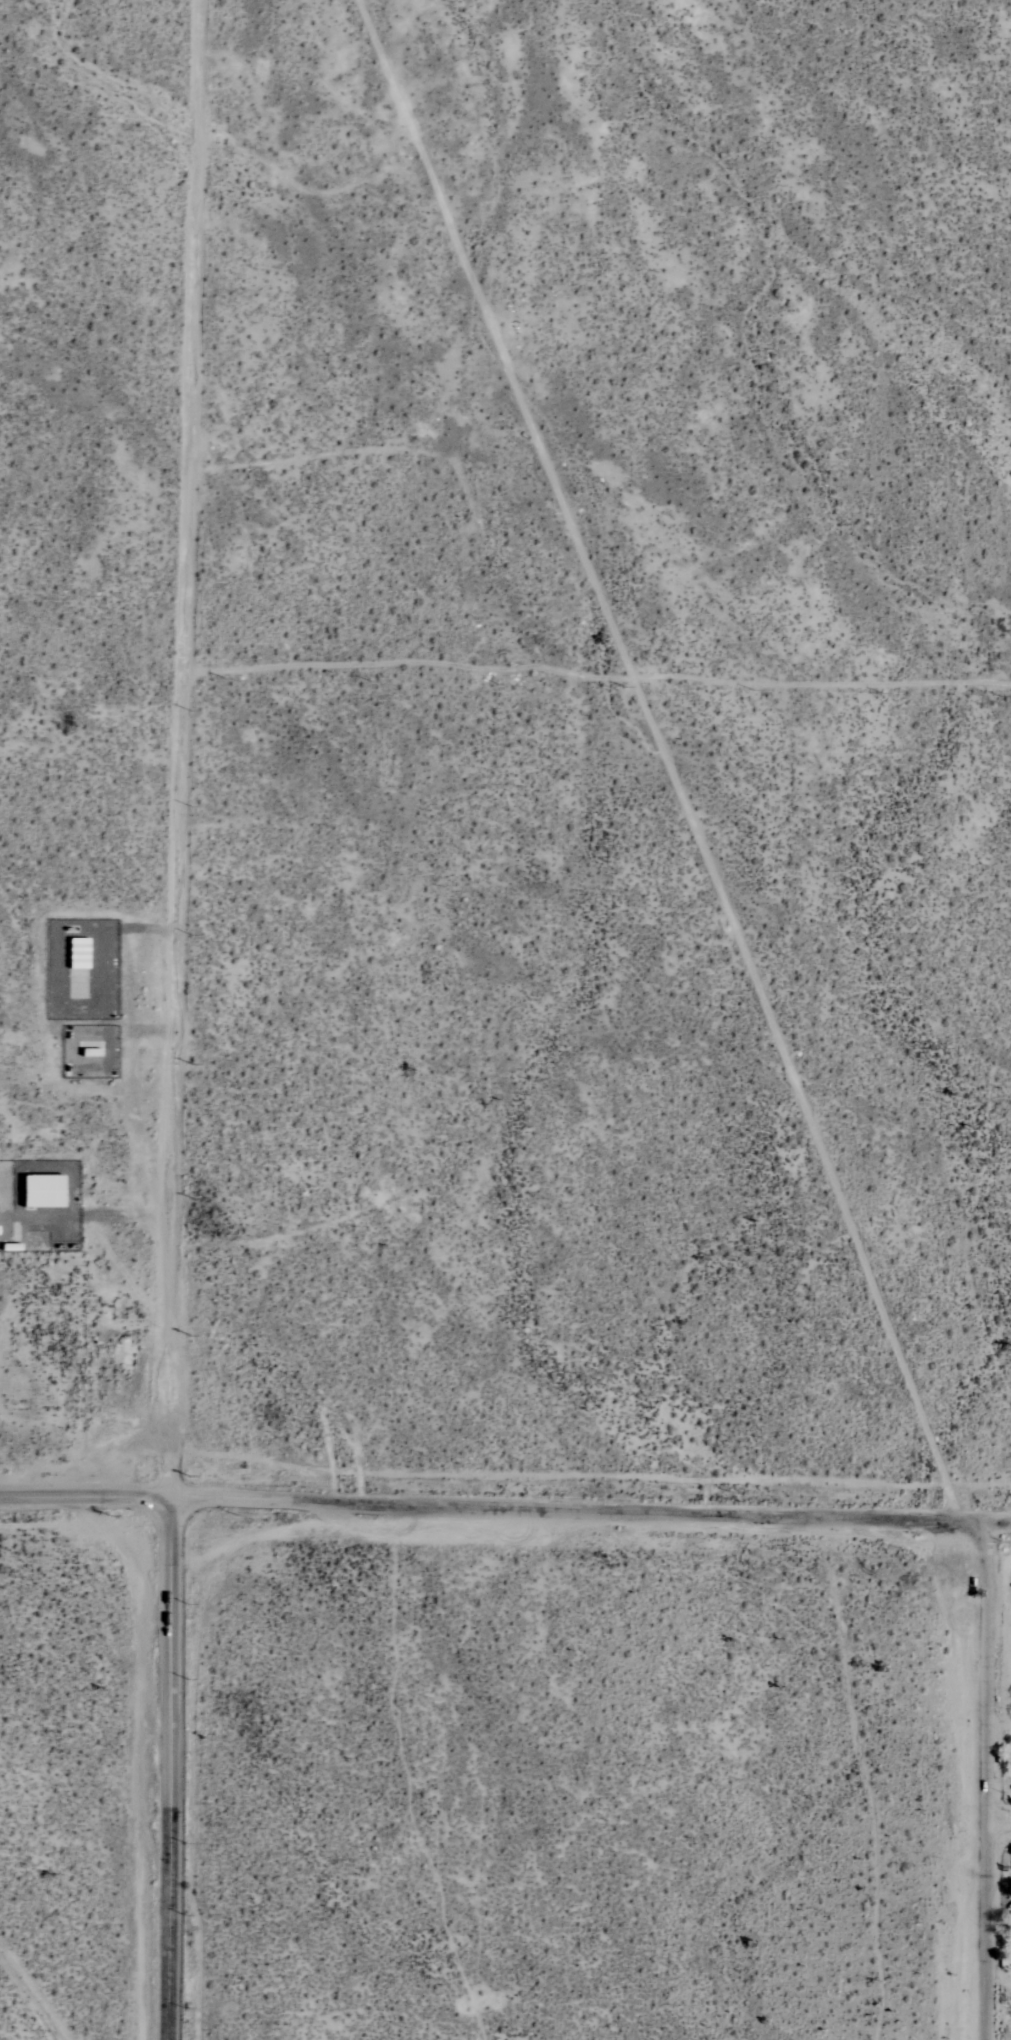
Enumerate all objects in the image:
road: (176, 748)
building: (38, 1192)
road: (86, 1496)
road: (579, 1509)
road: (999, 1522)
road: (170, 1768)
road: (987, 1780)
road: (999, 1821)

